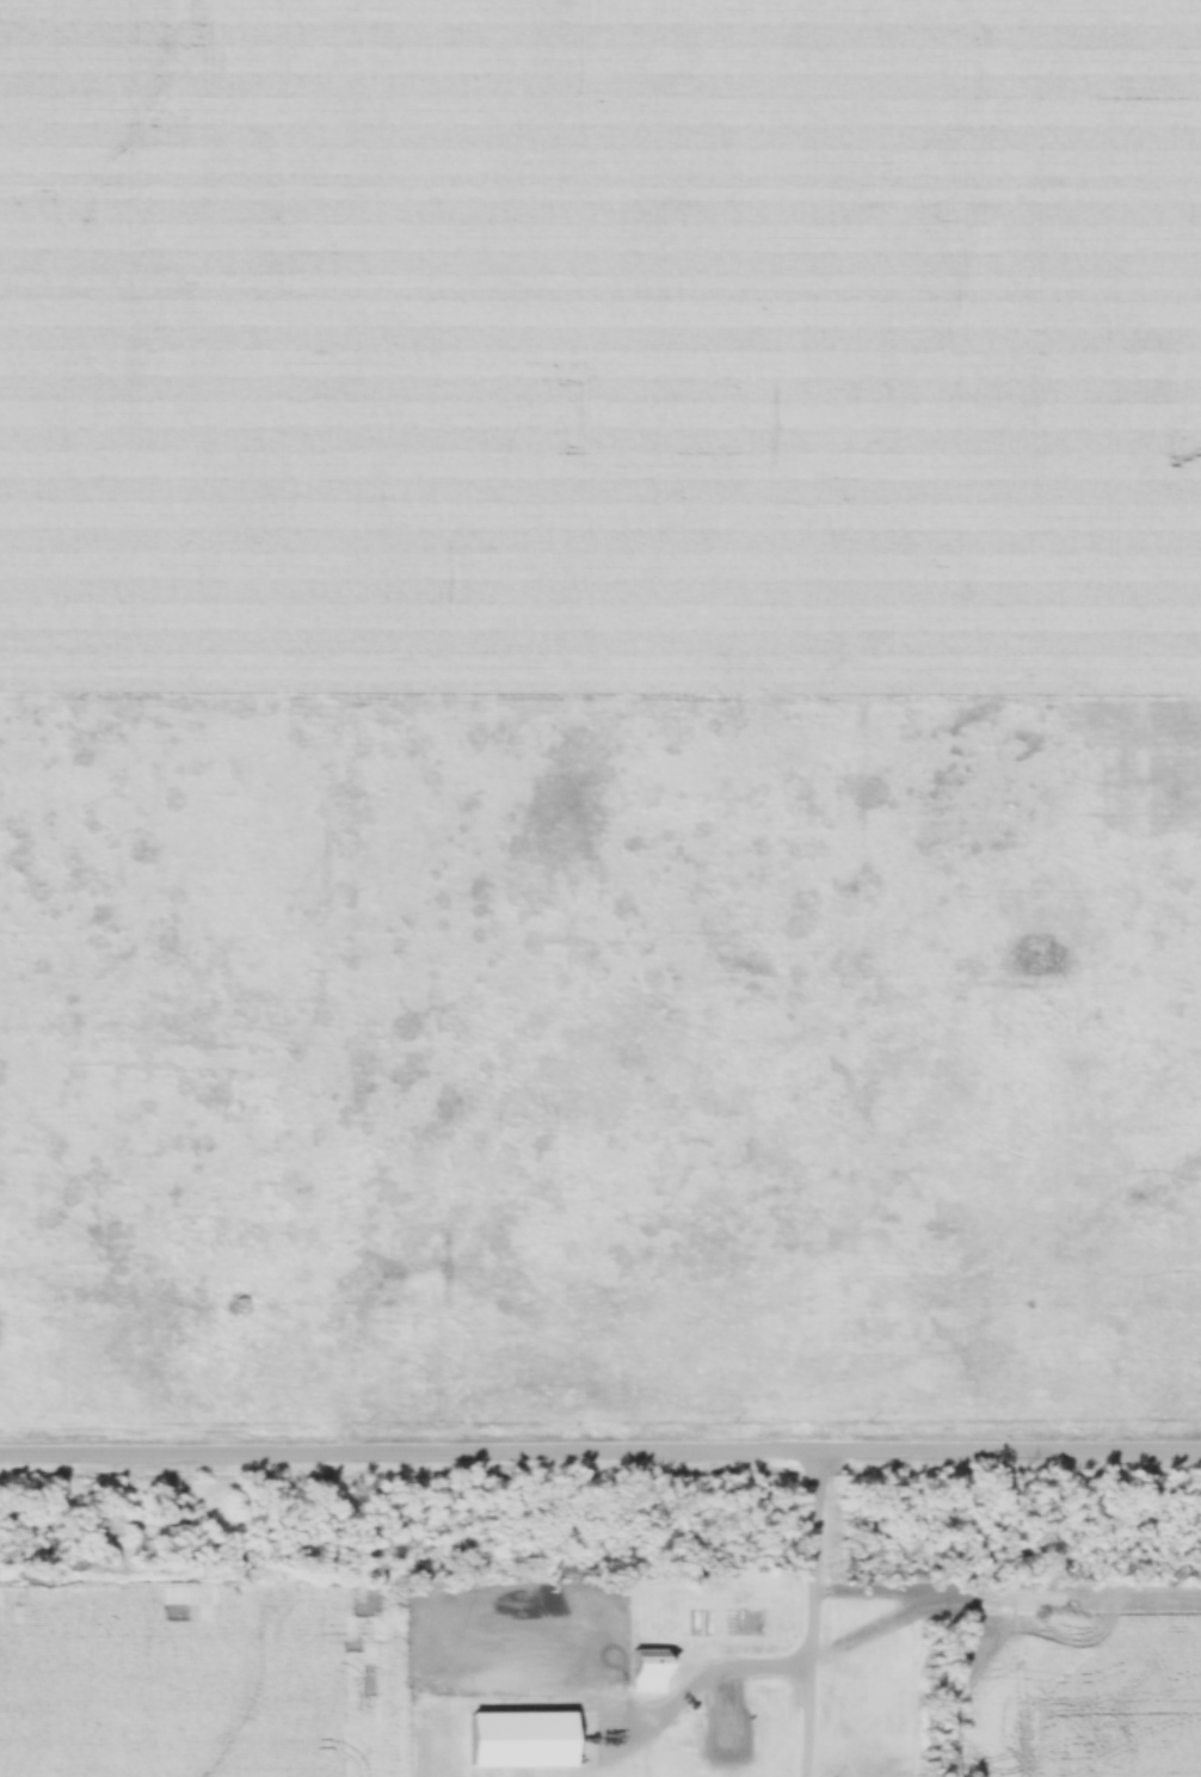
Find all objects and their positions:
road: (599, 1449)
road: (814, 1612)
building: (645, 1671)
road: (696, 1683)
building: (592, 1738)
building: (728, 1738)

